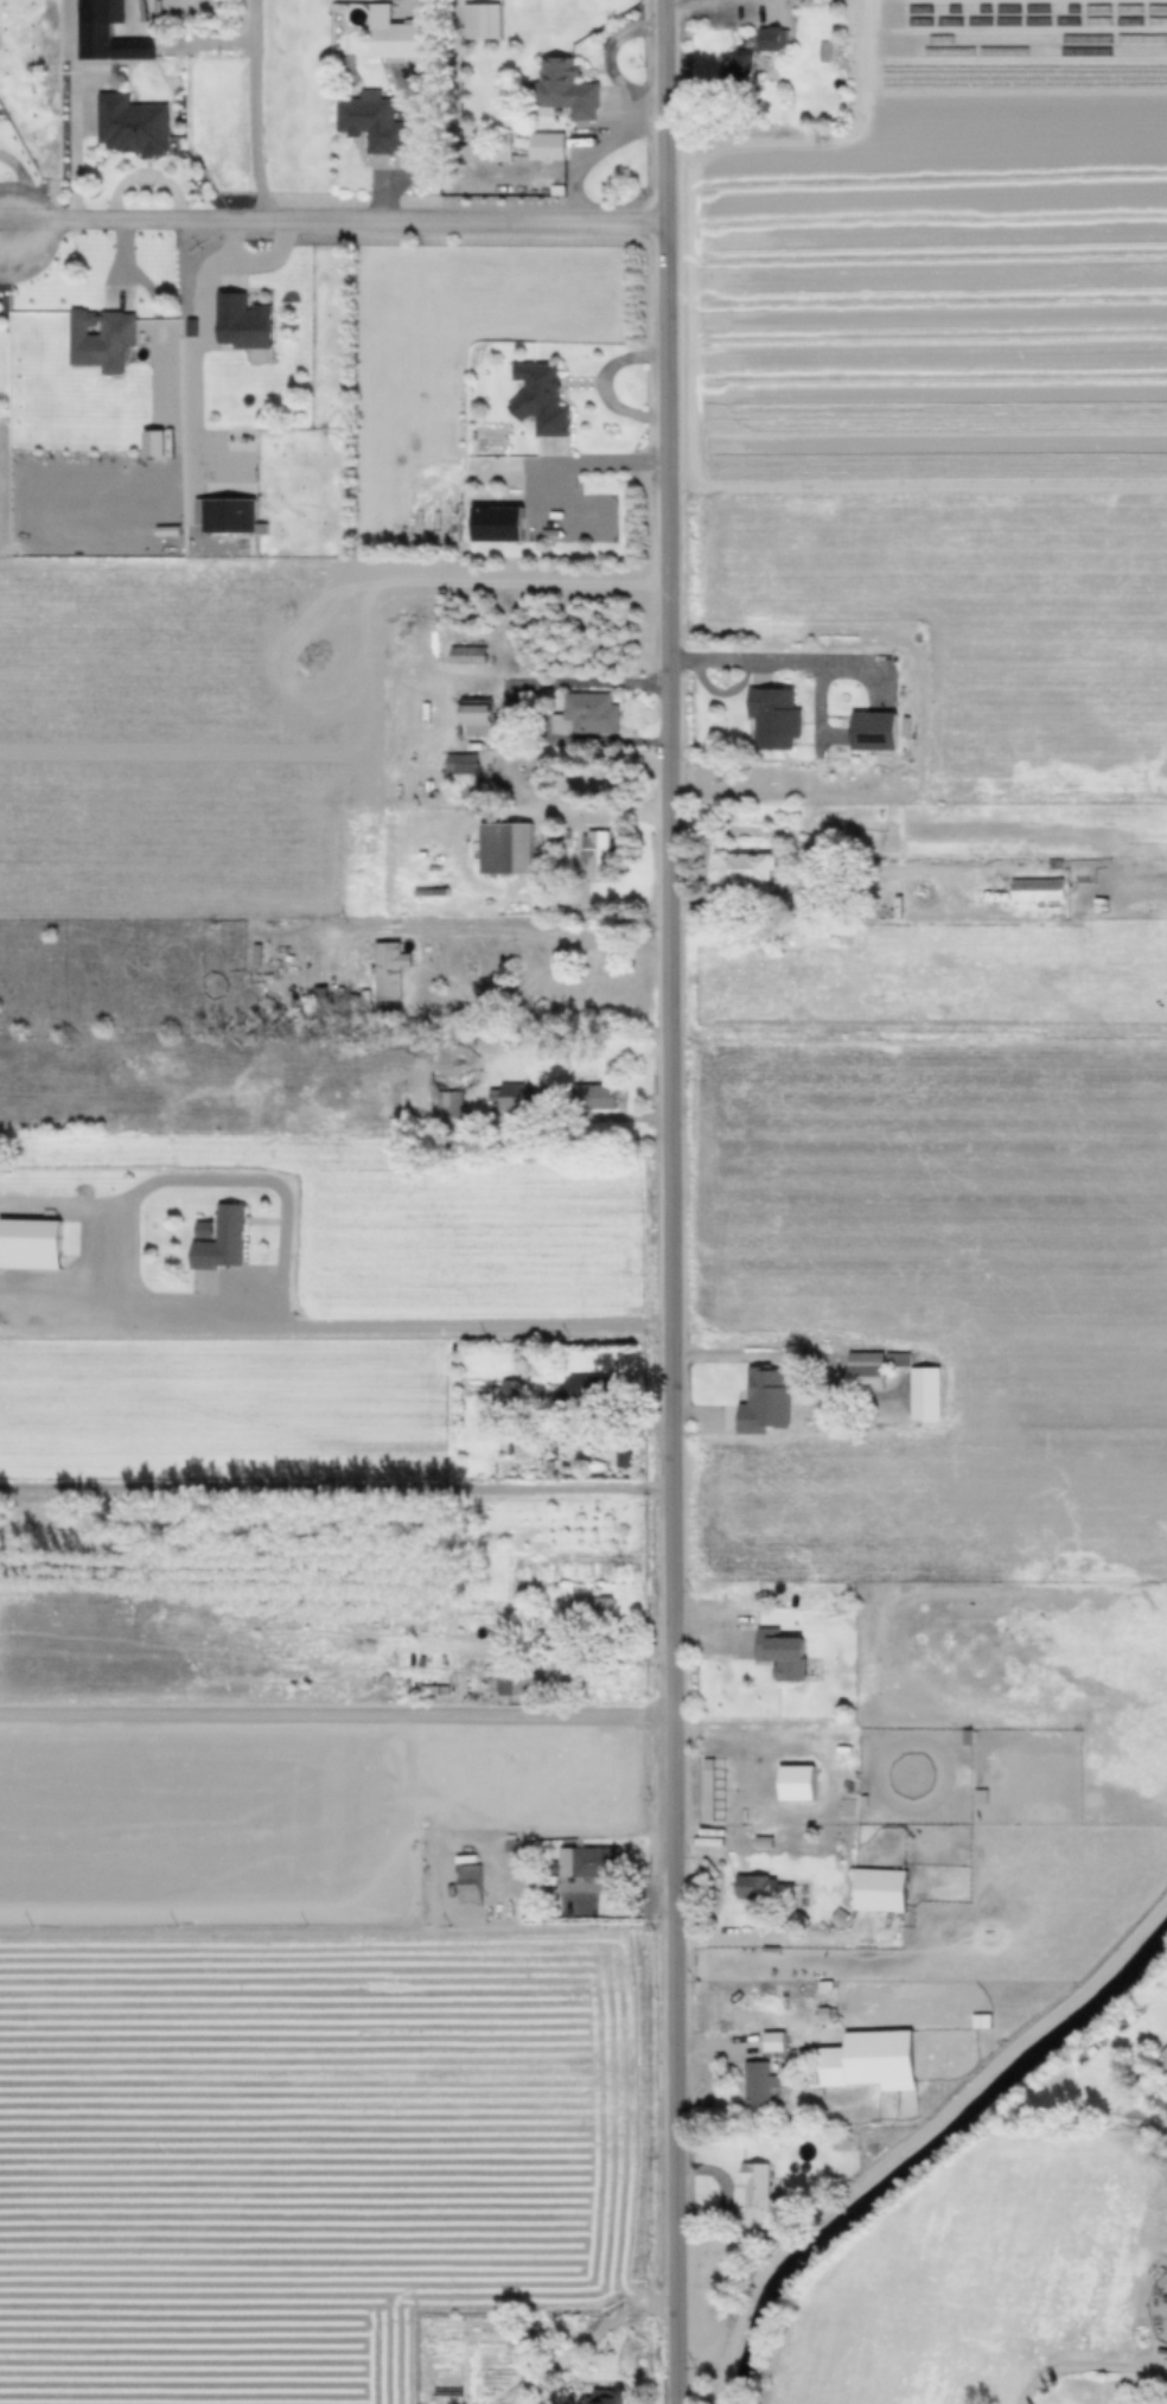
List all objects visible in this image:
building: (479, 19)
building: (93, 31)
building: (390, 33)
building: (771, 38)
building: (736, 69)
building: (563, 87)
road: (254, 111)
building: (371, 121)
building: (130, 123)
building: (546, 145)
building: (497, 146)
road: (333, 223)
building: (241, 319)
building: (98, 337)
building: (538, 397)
building: (229, 516)
building: (492, 521)
building: (465, 653)
road: (759, 659)
road: (585, 686)
building: (585, 713)
building: (473, 715)
building: (772, 715)
building: (872, 729)
building: (458, 764)
road: (597, 805)
building: (503, 847)
building: (595, 853)
building: (746, 867)
road: (810, 872)
building: (1035, 888)
road: (492, 933)
building: (387, 969)
building: (594, 1096)
building: (503, 1097)
building: (447, 1105)
road: (272, 1180)
road: (670, 1201)
road: (114, 1204)
building: (219, 1239)
building: (27, 1244)
road: (58, 1308)
road: (395, 1333)
road: (761, 1360)
building: (581, 1389)
building: (510, 1391)
building: (589, 1607)
building: (778, 1653)
building: (515, 1683)
building: (805, 1845)
building: (582, 1861)
building: (467, 1882)
building: (763, 1887)
building: (876, 1888)
building: (506, 1907)
road: (765, 1938)
building: (980, 2020)
building: (772, 2040)
building: (869, 2059)
building: (1160, 2066)
building: (754, 2083)
building: (1160, 2099)
road: (918, 2138)
building: (840, 2141)
building: (754, 2186)
building: (600, 2396)

